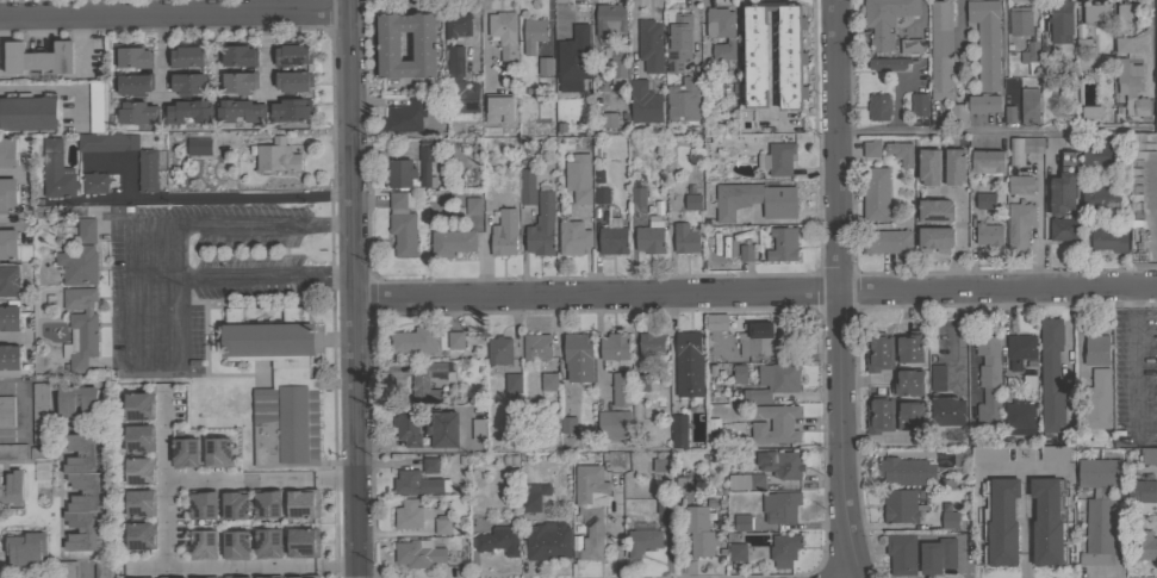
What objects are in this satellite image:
road: (175, 13)
building: (1095, 13)
building: (1125, 15)
building: (610, 19)
building: (885, 20)
building: (1021, 21)
building: (1059, 21)
building: (456, 24)
building: (500, 24)
building: (534, 33)
road: (695, 33)
building: (721, 33)
road: (483, 38)
building: (677, 41)
building: (987, 42)
building: (1083, 43)
building: (1122, 44)
building: (423, 45)
building: (649, 45)
building: (910, 46)
road: (596, 48)
building: (940, 50)
building: (292, 54)
building: (132, 56)
building: (186, 56)
building: (238, 56)
building: (576, 56)
building: (505, 57)
building: (753, 57)
building: (1031, 57)
building: (39, 60)
building: (887, 63)
building: (617, 66)
building: (543, 67)
road: (927, 77)
building: (293, 81)
building: (240, 82)
building: (133, 83)
building: (187, 83)
building: (460, 83)
building: (1131, 87)
road: (41, 91)
building: (683, 100)
building: (643, 102)
building: (984, 102)
building: (920, 104)
building: (878, 106)
building: (1028, 106)
building: (97, 107)
building: (290, 110)
building: (238, 111)
building: (493, 111)
building: (27, 112)
building: (136, 112)
building: (187, 112)
building: (1090, 112)
building: (957, 113)
building: (1009, 113)
building: (406, 116)
building: (609, 119)
road: (990, 131)
building: (107, 142)
building: (199, 147)
building: (871, 148)
building: (1024, 149)
building: (7, 151)
building: (901, 153)
building: (1099, 156)
building: (274, 157)
building: (777, 159)
building: (987, 161)
building: (425, 162)
building: (953, 166)
building: (929, 167)
building: (57, 170)
building: (148, 170)
building: (400, 173)
building: (578, 178)
building: (94, 182)
building: (1064, 184)
building: (1021, 185)
building: (527, 187)
building: (636, 192)
building: (876, 193)
building: (7, 195)
building: (601, 195)
building: (1097, 195)
road: (21, 197)
road: (204, 198)
building: (691, 199)
building: (754, 200)
building: (985, 200)
building: (471, 207)
building: (497, 207)
building: (70, 211)
building: (935, 211)
building: (403, 224)
building: (541, 226)
building: (1019, 226)
road: (1038, 228)
building: (1063, 229)
building: (86, 230)
building: (989, 234)
building: (572, 237)
building: (614, 237)
building: (651, 237)
building: (685, 238)
building: (934, 238)
building: (1107, 240)
building: (888, 241)
building: (452, 242)
building: (8, 244)
building: (502, 244)
building: (783, 244)
road: (172, 249)
building: (746, 251)
building: (77, 265)
road: (355, 288)
road: (835, 290)
road: (755, 292)
building: (10, 317)
building: (716, 322)
building: (80, 328)
road: (1078, 336)
road: (11, 338)
building: (757, 338)
building: (947, 338)
road: (1066, 338)
building: (415, 340)
building: (455, 340)
building: (651, 343)
building: (614, 346)
building: (536, 347)
building: (909, 347)
road: (597, 348)
building: (1019, 349)
building: (1096, 349)
building: (499, 350)
building: (878, 352)
road: (971, 352)
building: (578, 356)
building: (8, 361)
road: (1132, 363)
building: (689, 365)
building: (739, 373)
building: (1051, 375)
building: (937, 378)
building: (988, 379)
building: (548, 381)
building: (773, 381)
building: (1030, 381)
building: (640, 383)
building: (907, 383)
building: (421, 384)
building: (512, 384)
building: (275, 389)
building: (621, 389)
building: (1096, 400)
building: (77, 403)
building: (132, 408)
building: (6, 411)
building: (947, 411)
road: (24, 414)
building: (39, 414)
building: (879, 415)
building: (909, 417)
building: (1019, 418)
building: (775, 424)
building: (567, 425)
building: (614, 425)
building: (713, 425)
building: (406, 427)
building: (442, 429)
building: (479, 429)
building: (677, 433)
road: (1145, 440)
building: (131, 441)
road: (410, 449)
building: (13, 452)
building: (212, 453)
building: (39, 454)
building: (180, 454)
building: (989, 454)
building: (1056, 454)
building: (960, 456)
building: (1147, 456)
building: (614, 460)
building: (780, 464)
building: (430, 465)
building: (659, 465)
building: (904, 471)
building: (132, 473)
building: (666, 479)
building: (745, 481)
building: (416, 483)
building: (683, 484)
building: (12, 487)
building: (1142, 490)
building: (82, 492)
building: (531, 496)
building: (133, 505)
building: (260, 505)
building: (665, 505)
building: (195, 506)
building: (297, 506)
building: (780, 506)
building: (900, 506)
building: (229, 508)
building: (591, 508)
building: (1099, 509)
building: (410, 514)
building: (948, 520)
road: (164, 521)
building: (1047, 521)
building: (1000, 522)
building: (741, 523)
road: (1024, 523)
building: (442, 527)
building: (698, 533)
building: (133, 537)
building: (499, 541)
building: (547, 541)
building: (642, 541)
building: (261, 545)
building: (298, 545)
building: (1140, 545)
building: (197, 546)
building: (229, 546)
building: (784, 547)
building: (27, 551)
building: (736, 552)
building: (898, 552)
building: (418, 553)
building: (938, 555)
building: (68, 568)
building: (102, 568)
road: (86, 573)
building: (298, 577)

